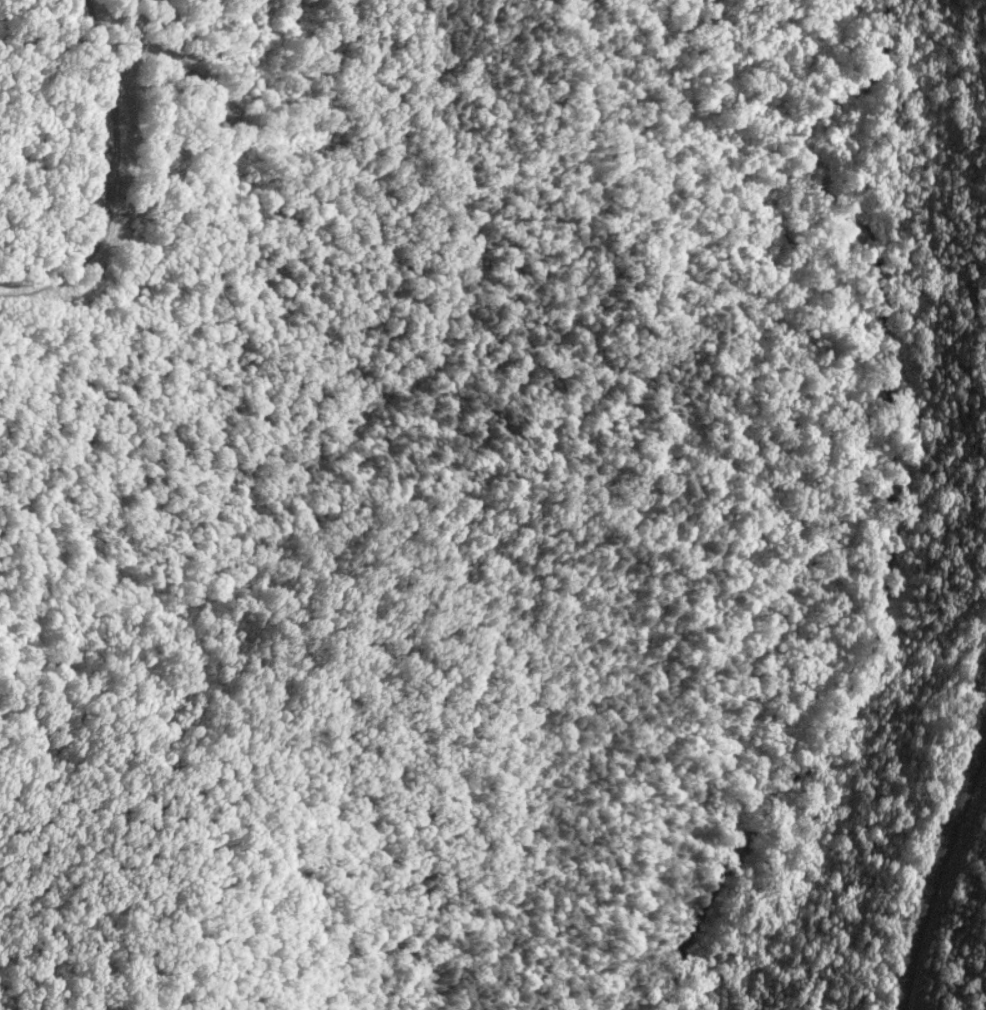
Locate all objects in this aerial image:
road: (113, 171)
railway: (924, 836)

